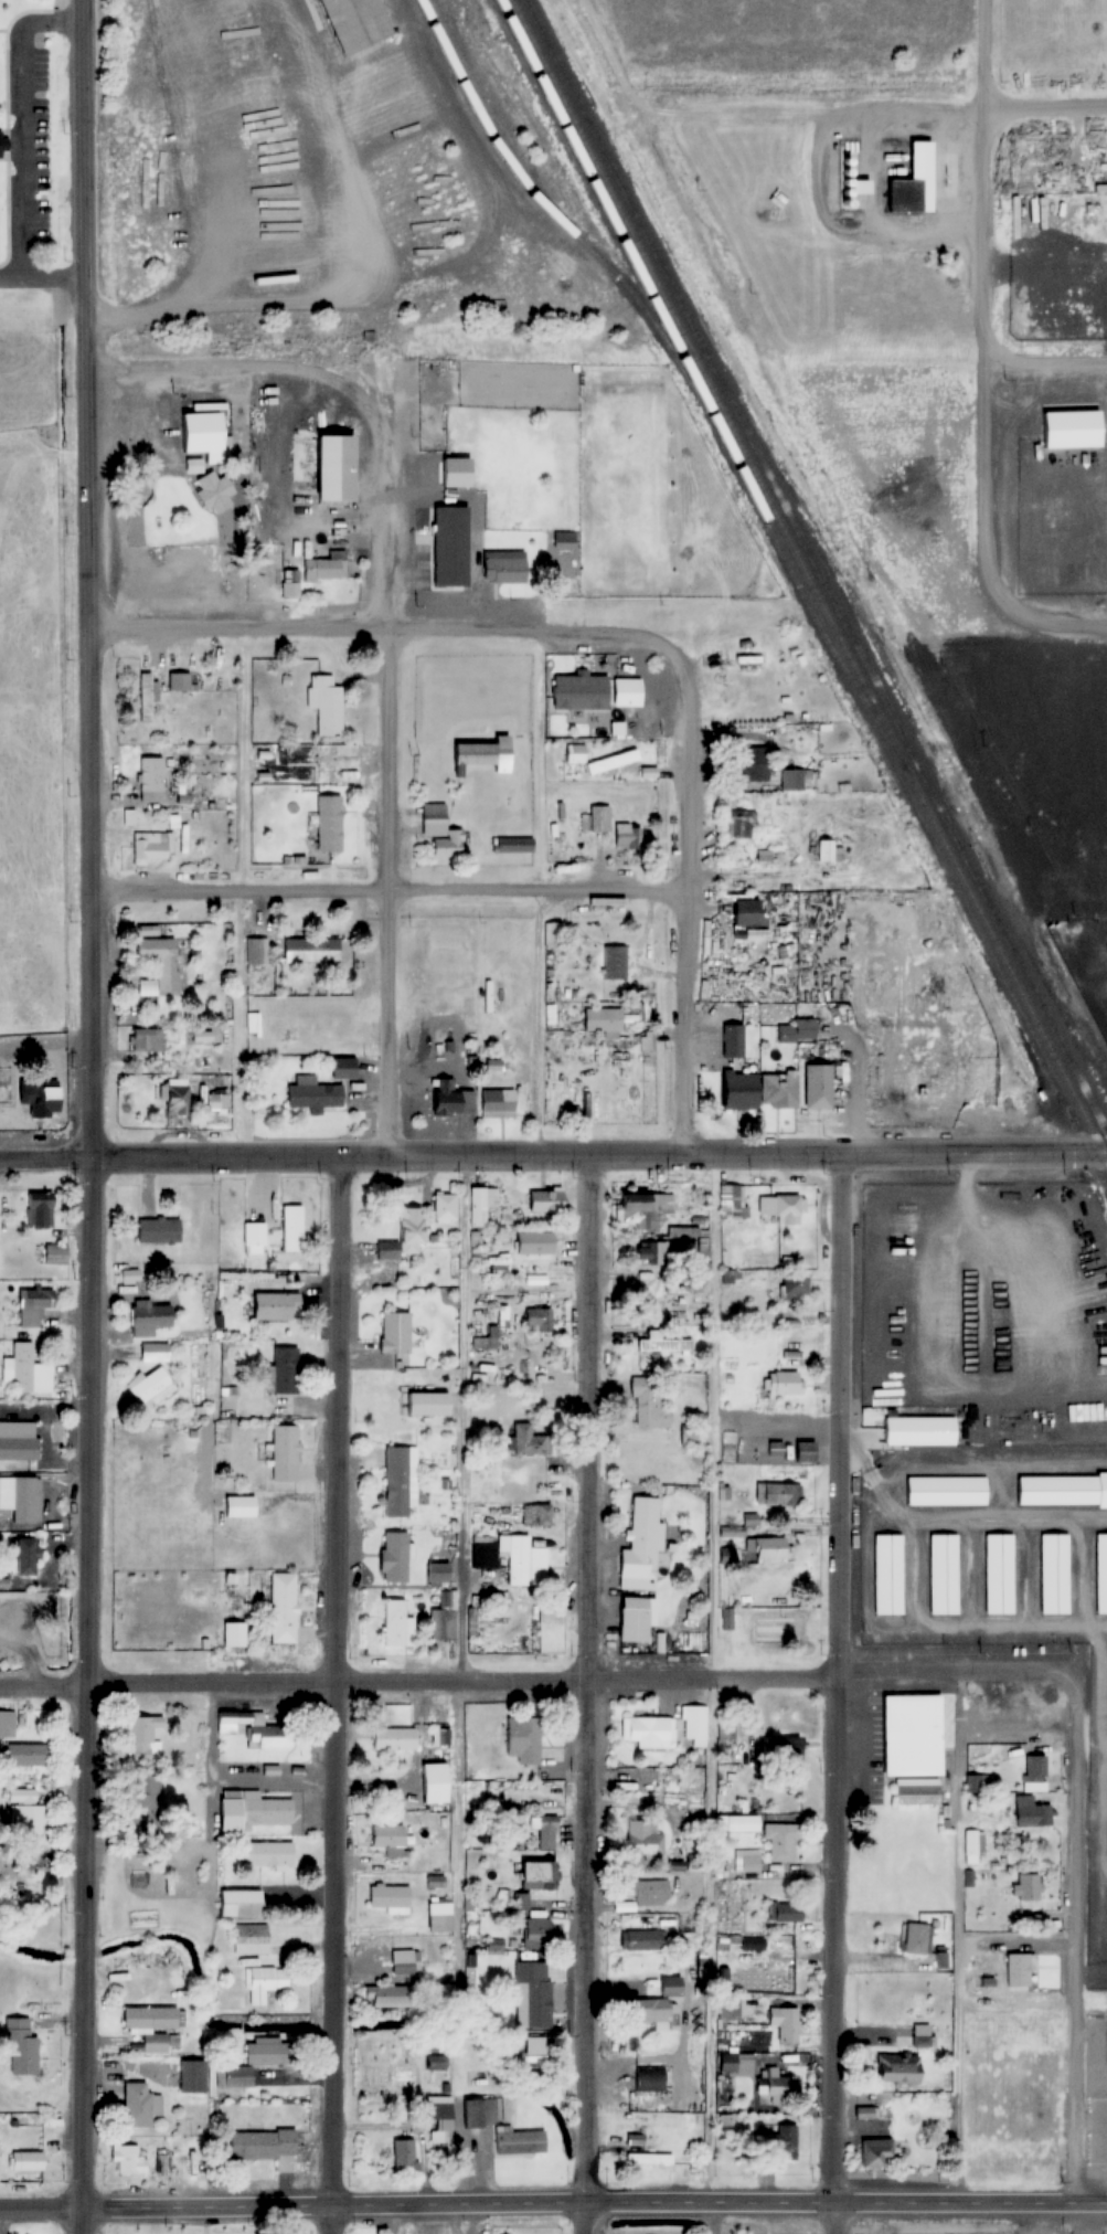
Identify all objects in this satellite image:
building: (358, 23)
road: (1047, 104)
road: (20, 121)
building: (0, 145)
parking lot: (28, 151)
building: (909, 184)
railway: (537, 201)
road: (42, 279)
railway: (671, 284)
road: (991, 329)
road: (1050, 361)
railway: (686, 370)
building: (1066, 430)
building: (205, 434)
building: (337, 467)
building: (214, 491)
building: (564, 540)
building: (451, 546)
building: (326, 567)
building: (505, 567)
road: (87, 578)
railway: (808, 580)
crop: (42, 589)
building: (289, 589)
road: (1084, 626)
road: (388, 633)
building: (179, 681)
building: (582, 691)
building: (628, 692)
building: (145, 697)
building: (326, 705)
building: (485, 755)
building: (597, 761)
building: (754, 764)
building: (151, 780)
building: (792, 780)
building: (595, 818)
building: (330, 823)
building: (738, 824)
road: (387, 826)
building: (440, 830)
building: (628, 836)
building: (512, 845)
building: (153, 847)
building: (829, 851)
railway: (961, 851)
road: (386, 892)
road: (682, 907)
building: (552, 934)
building: (312, 951)
building: (256, 954)
building: (161, 959)
building: (614, 962)
building: (603, 1019)
building: (333, 1023)
building: (556, 1029)
building: (798, 1030)
building: (200, 1035)
building: (149, 1039)
building: (733, 1040)
building: (343, 1068)
building: (902, 1069)
building: (818, 1086)
building: (779, 1089)
building: (741, 1090)
building: (315, 1095)
building: (42, 1098)
building: (178, 1099)
building: (453, 1099)
building: (498, 1102)
road: (553, 1153)
building: (545, 1200)
building: (728, 1201)
building: (480, 1205)
building: (445, 1208)
building: (787, 1208)
building: (642, 1209)
building: (41, 1210)
building: (291, 1229)
building: (159, 1230)
building: (405, 1237)
building: (254, 1238)
building: (534, 1243)
building: (654, 1253)
building: (56, 1254)
building: (795, 1287)
building: (34, 1306)
building: (277, 1306)
building: (150, 1317)
building: (396, 1333)
building: (663, 1345)
building: (152, 1353)
building: (286, 1370)
building: (26, 1372)
building: (783, 1383)
building: (151, 1388)
building: (648, 1402)
building: (425, 1405)
building: (919, 1431)
building: (19, 1440)
building: (529, 1440)
building: (774, 1449)
building: (803, 1452)
building: (285, 1453)
building: (400, 1481)
building: (1061, 1490)
building: (945, 1491)
building: (777, 1494)
building: (21, 1497)
building: (240, 1506)
building: (643, 1524)
building: (767, 1548)
building: (28, 1556)
building: (511, 1556)
building: (395, 1557)
building: (1100, 1573)
building: (439, 1574)
building: (943, 1574)
building: (999, 1574)
building: (1054, 1574)
building: (887, 1575)
building: (283, 1608)
building: (19, 1613)
building: (443, 1618)
building: (632, 1620)
building: (470, 1622)
building: (396, 1624)
building: (234, 1634)
road: (542, 1677)
road: (585, 1693)
road: (832, 1693)
road: (86, 1694)
road: (336, 1694)
building: (693, 1722)
building: (723, 1723)
building: (4, 1725)
building: (255, 1729)
building: (646, 1732)
building: (437, 1736)
building: (146, 1737)
building: (393, 1738)
building: (908, 1739)
building: (524, 1740)
building: (779, 1749)
building: (25, 1755)
building: (1034, 1772)
building: (435, 1783)
building: (916, 1791)
building: (25, 1810)
building: (255, 1812)
building: (1032, 1813)
building: (743, 1824)
building: (546, 1833)
building: (388, 1840)
building: (779, 1842)
building: (642, 1843)
building: (971, 1845)
building: (266, 1854)
building: (746, 1864)
building: (536, 1875)
building: (1028, 1887)
building: (652, 1892)
building: (388, 1896)
building: (242, 1904)
building: (785, 1913)
building: (439, 1917)
building: (536, 1934)
building: (916, 1939)
building: (251, 1940)
building: (642, 1940)
building: (752, 1944)
road: (1073, 1951)
building: (405, 1961)
building: (701, 1970)
building: (1018, 1970)
building: (764, 1973)
building: (264, 1983)
building: (539, 1984)
building: (391, 1997)
building: (656, 2000)
building: (491, 2005)
building: (150, 2019)
building: (784, 2023)
building: (155, 2043)
building: (617, 2043)
building: (22, 2047)
building: (536, 2056)
building: (259, 2061)
building: (438, 2063)
building: (735, 2063)
building: (900, 2068)
building: (192, 2076)
building: (650, 2079)
building: (777, 2090)
building: (140, 2105)
building: (480, 2113)
building: (441, 2116)
building: (724, 2117)
building: (636, 2139)
building: (521, 2142)
building: (780, 2142)
building: (263, 2143)
building: (877, 2152)
building: (405, 2156)
building: (649, 2159)
building: (26, 2160)
building: (129, 2160)
road: (553, 2204)

